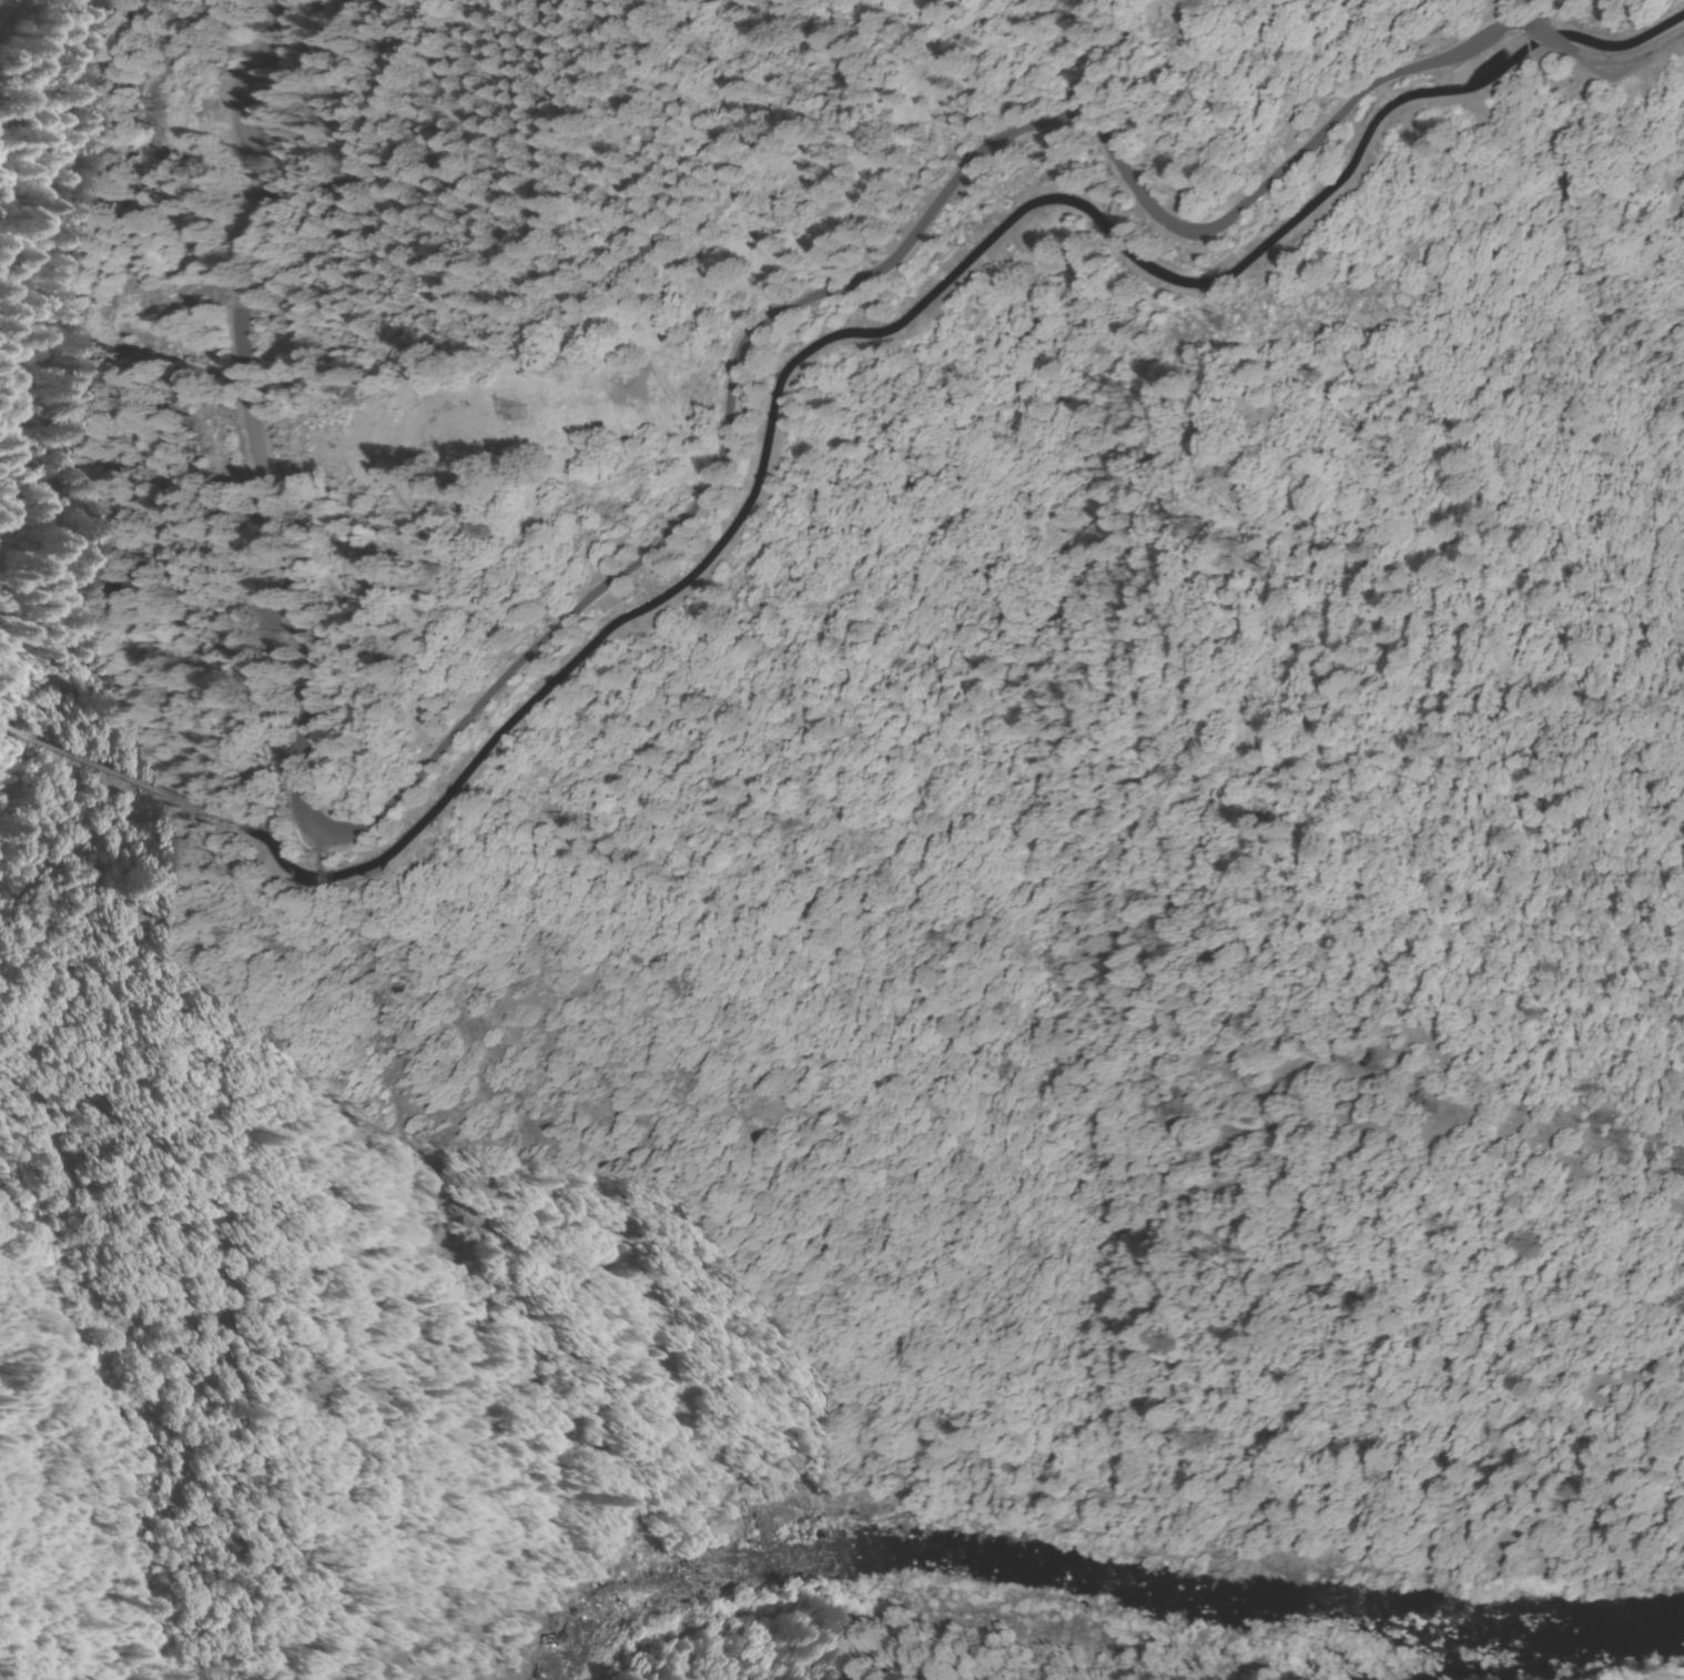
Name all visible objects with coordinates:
road: (1545, 39)
road: (1621, 69)
power tower: (1235, 327)
power tower: (523, 414)
road: (561, 605)

